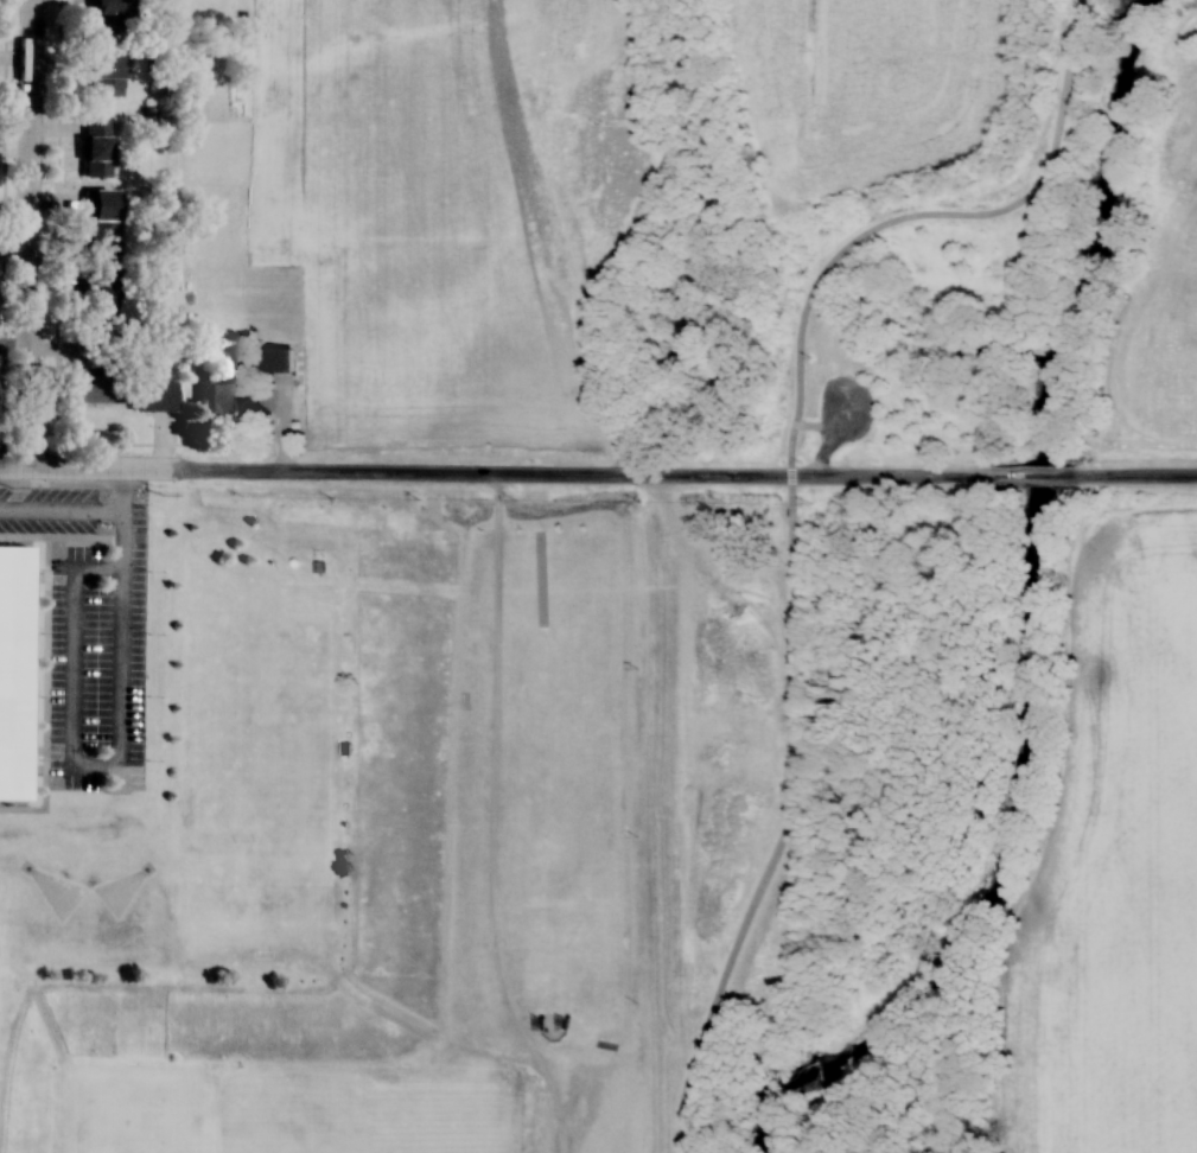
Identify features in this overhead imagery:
building: (102, 15)
building: (103, 74)
building: (95, 147)
building: (102, 219)
road: (25, 234)
road: (580, 236)
building: (100, 286)
building: (274, 358)
building: (85, 388)
building: (149, 393)
building: (223, 395)
road: (301, 473)
road: (722, 476)
road: (922, 477)
road: (1019, 477)
road: (1116, 477)
road: (791, 502)
building: (293, 562)
building: (540, 578)
airport runway: (1170, 593)
parking lot: (87, 629)
building: (13, 667)
road: (42, 671)
park: (259, 737)
park: (144, 1108)
park: (362, 1110)

